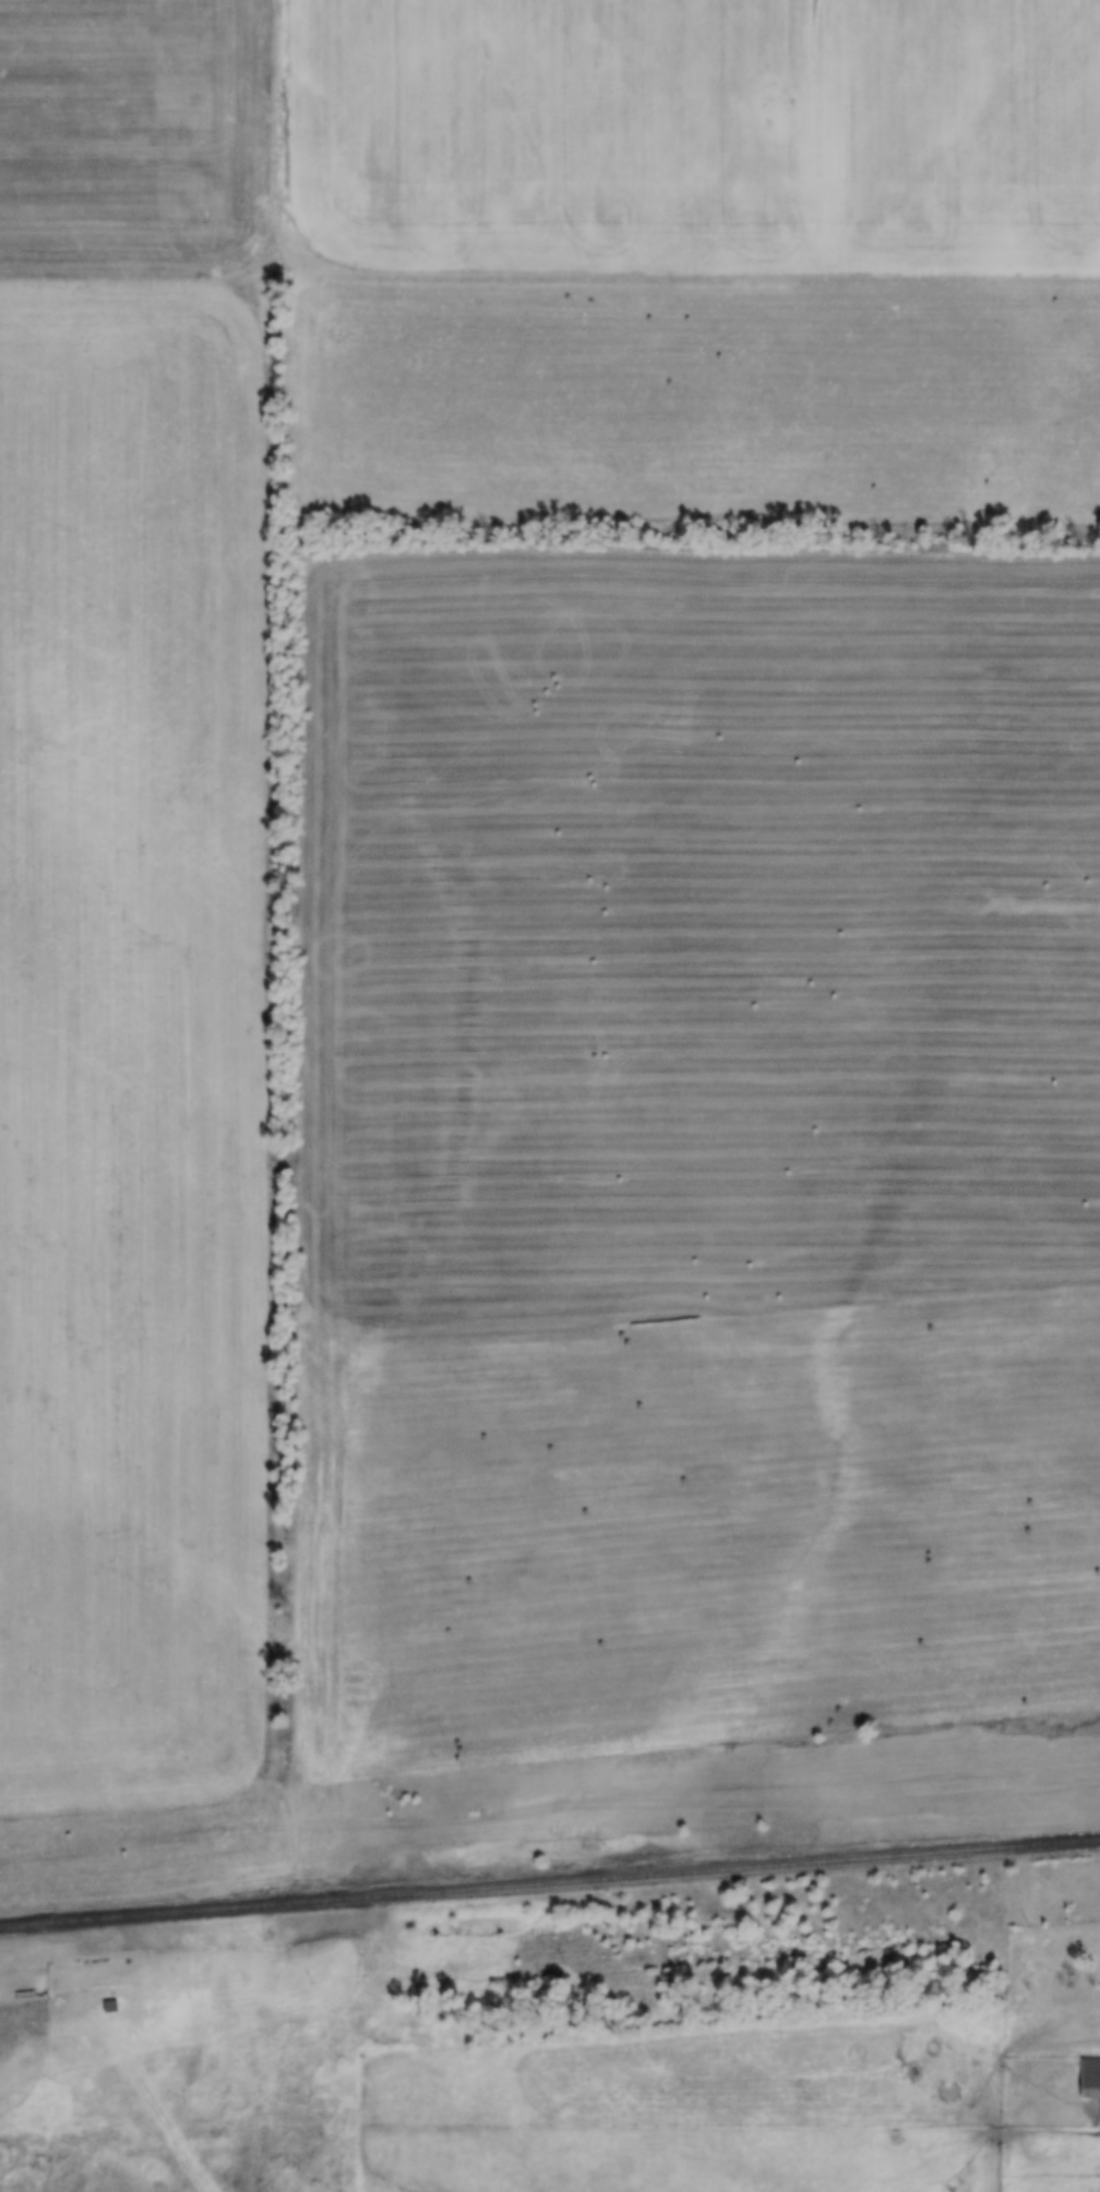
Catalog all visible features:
railway: (550, 1880)
building: (108, 2008)
building: (1089, 2080)

